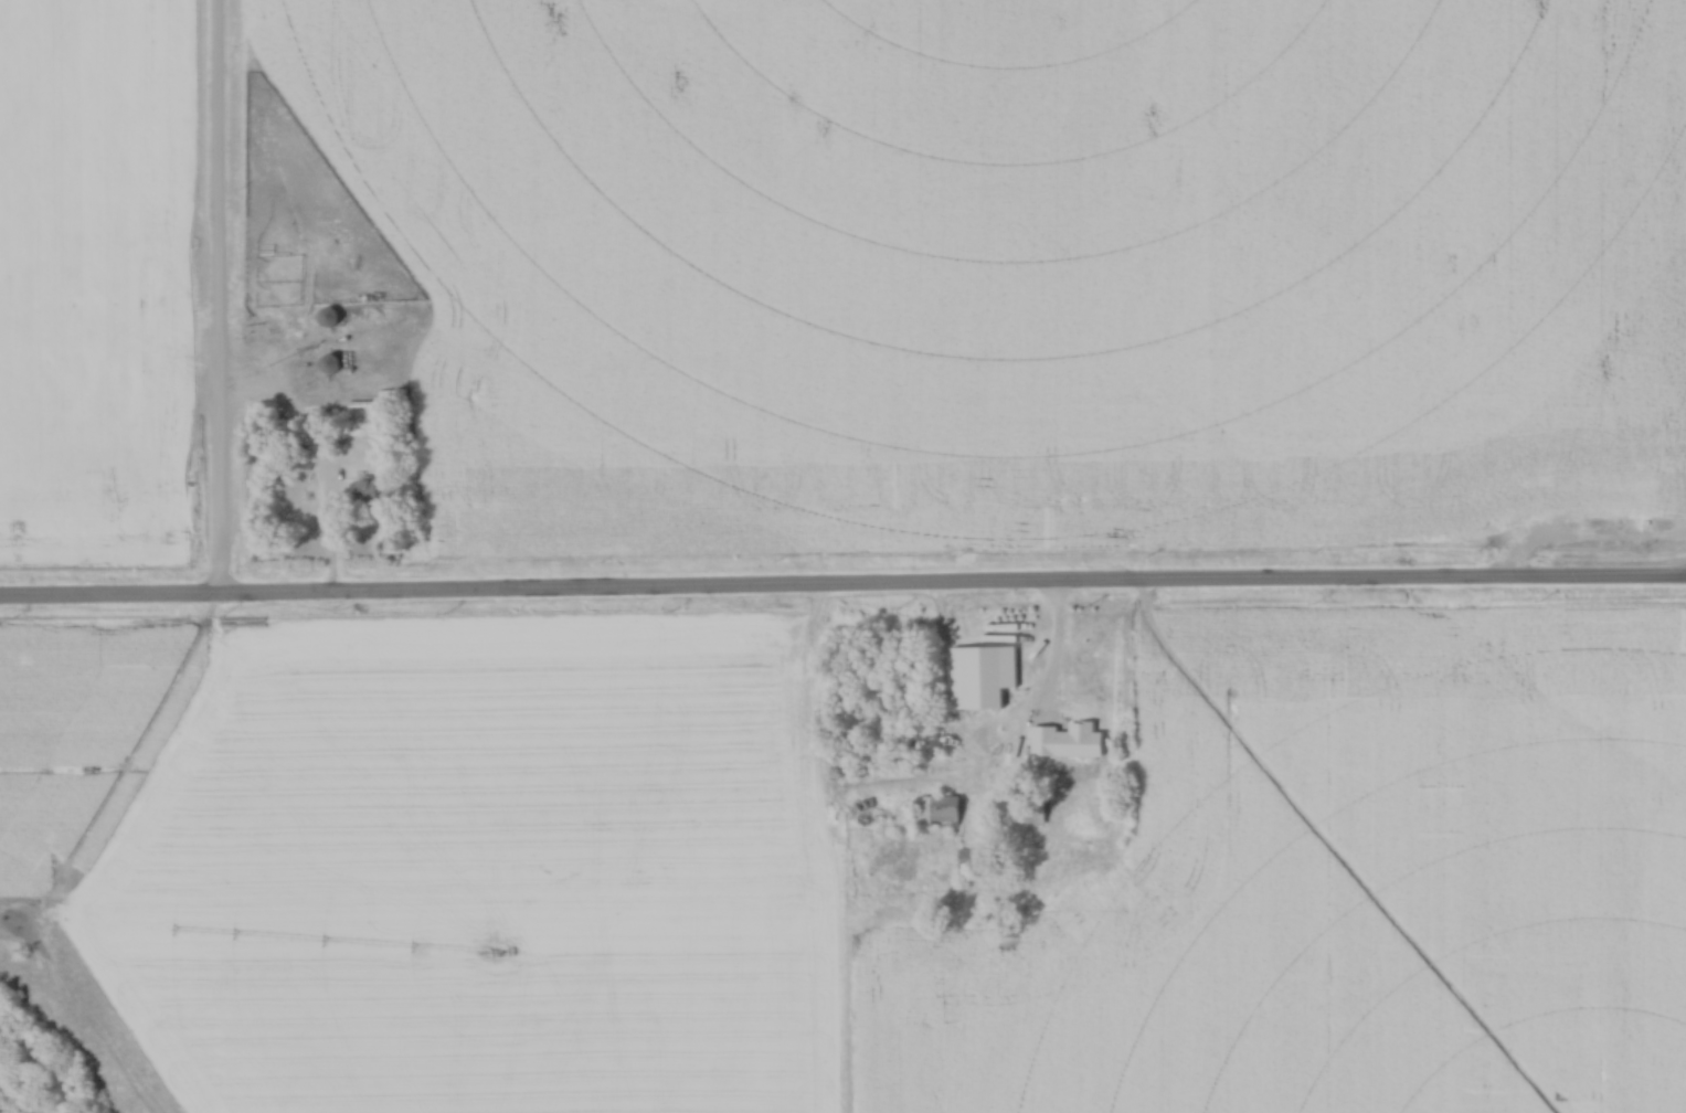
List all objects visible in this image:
road: (224, 300)
building: (326, 316)
building: (253, 317)
building: (360, 360)
building: (327, 362)
building: (363, 489)
road: (332, 536)
road: (842, 592)
road: (1064, 671)
building: (1064, 740)
building: (1026, 808)
building: (936, 809)
building: (967, 857)

